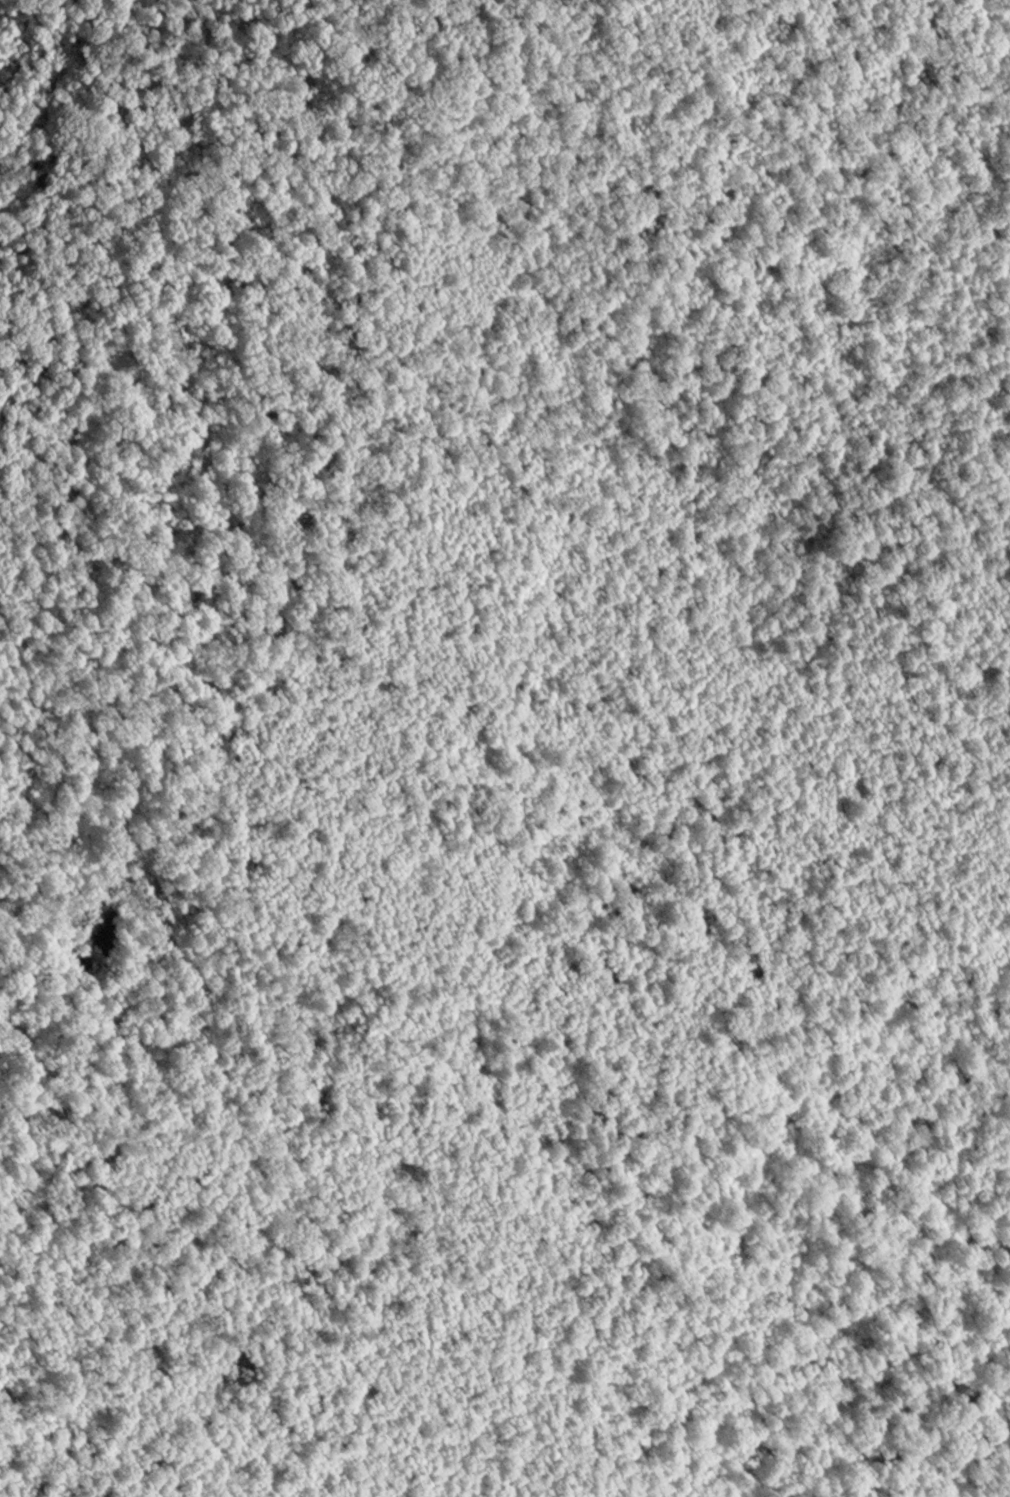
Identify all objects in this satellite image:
road: (376, 132)
road: (125, 577)
road: (12, 1006)

